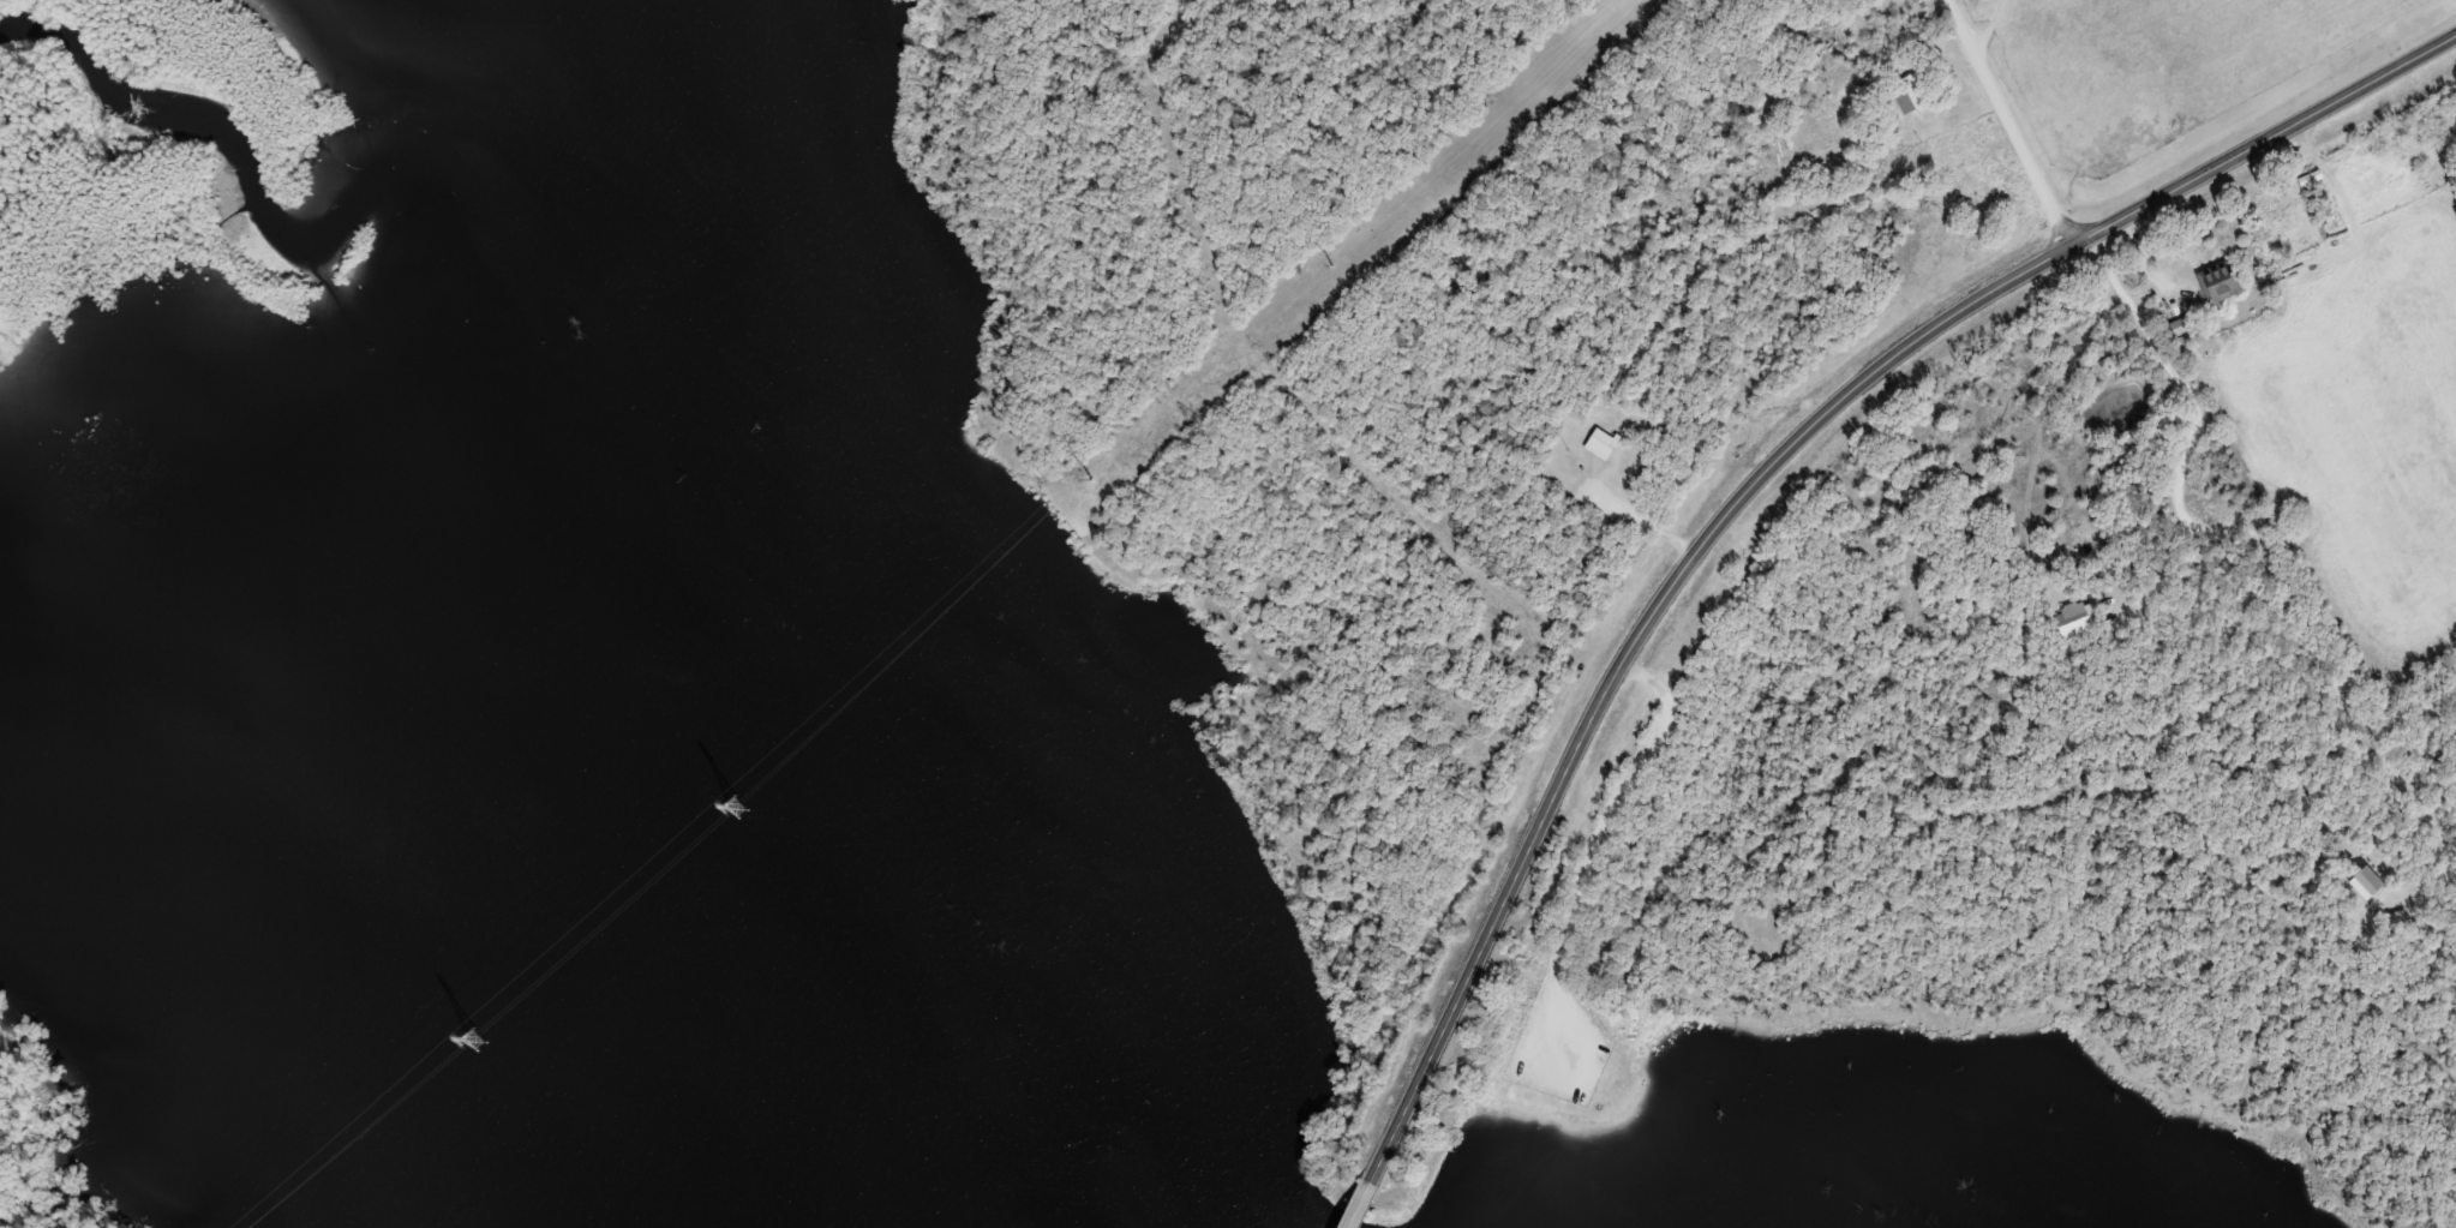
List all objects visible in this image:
building: (1911, 91)
road: (2017, 122)
building: (2224, 281)
building: (2185, 324)
building: (1603, 443)
road: (1755, 484)
road: (1642, 521)
power tower: (732, 798)
power tower: (473, 1030)
road: (1352, 1221)

